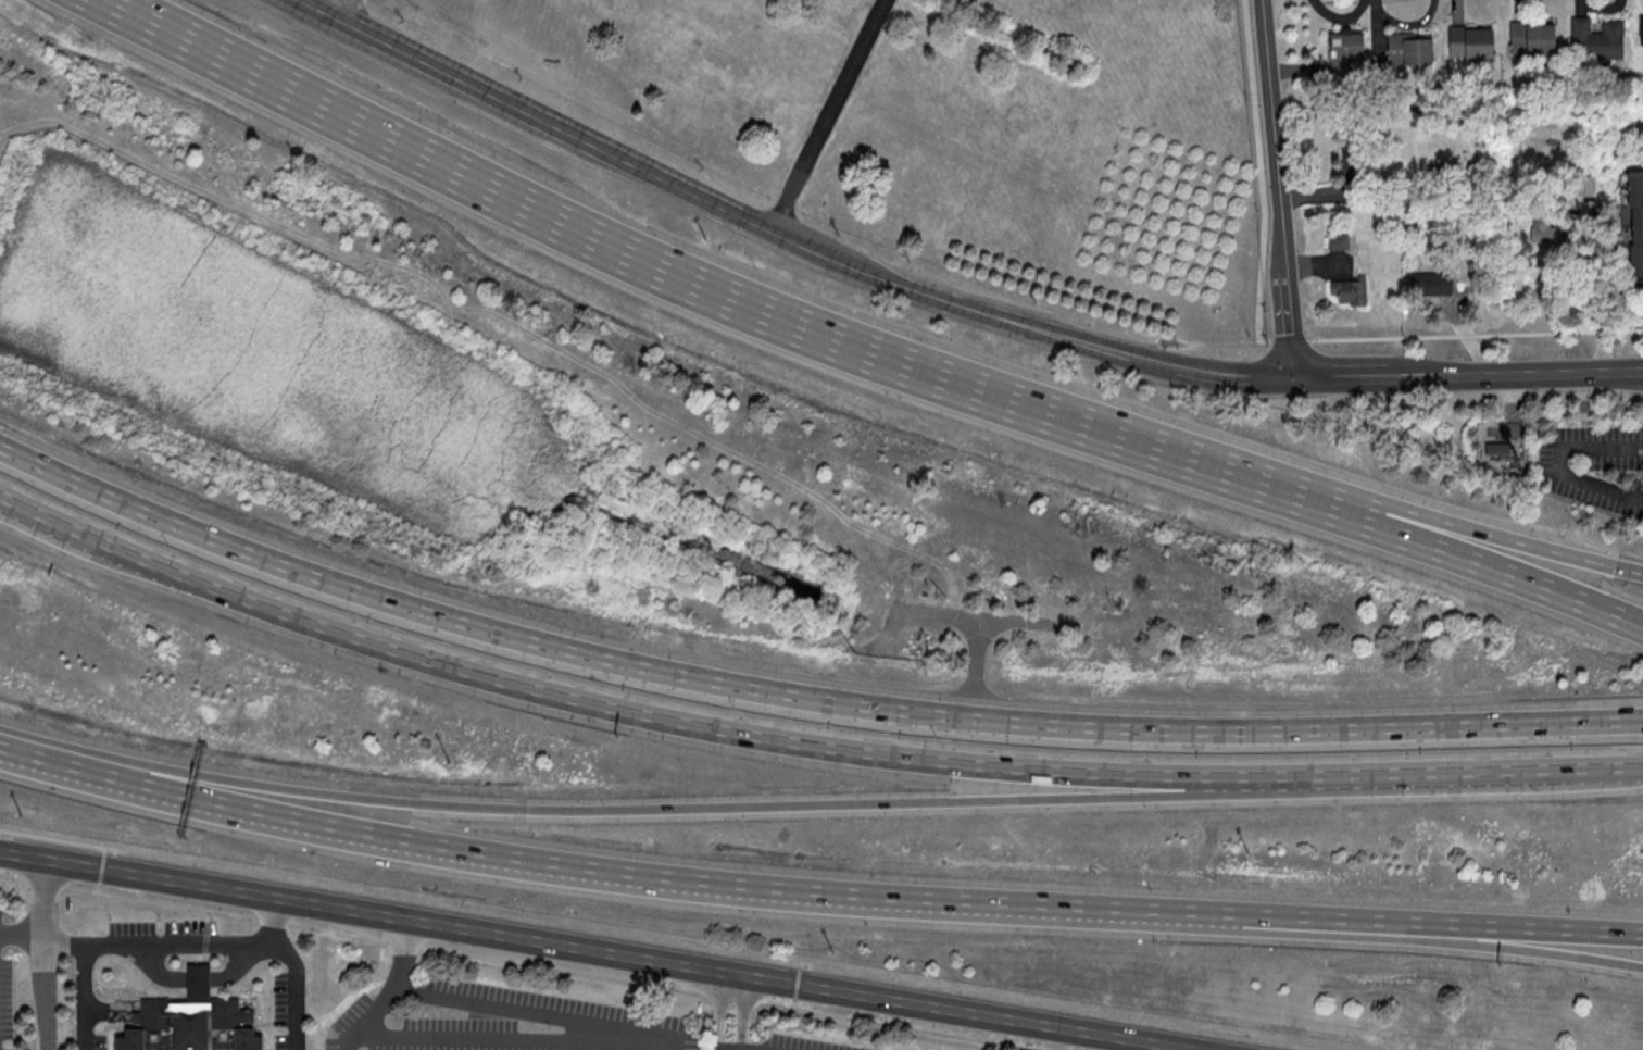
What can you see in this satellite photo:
road: (344, 10)
building: (1641, 32)
building: (1533, 37)
building: (1597, 39)
building: (1471, 42)
building: (1410, 48)
building: (1346, 49)
road: (828, 115)
road: (1281, 191)
road: (729, 211)
building: (1635, 223)
building: (1544, 230)
building: (1339, 241)
building: (1432, 284)
building: (1350, 290)
road: (729, 298)
road: (1595, 298)
road: (1239, 378)
road: (1470, 379)
traffic signals: (1300, 384)
building: (1500, 450)
road: (1512, 543)
road: (97, 559)
road: (1510, 576)
road: (980, 617)
road: (473, 625)
road: (976, 667)
road: (623, 711)
road: (1306, 728)
road: (1501, 770)
road: (1320, 774)
road: (818, 805)
road: (603, 873)
road: (1432, 927)
road: (23, 929)
road: (281, 937)
road: (1432, 938)
road: (165, 947)
road: (595, 951)
road: (47, 954)
building: (201, 979)
road: (193, 980)
road: (85, 985)
road: (388, 991)
road: (489, 1004)
road: (299, 1012)
road: (741, 1012)
building: (188, 1027)
road: (86, 1037)
road: (631, 1038)
road: (466, 1039)

